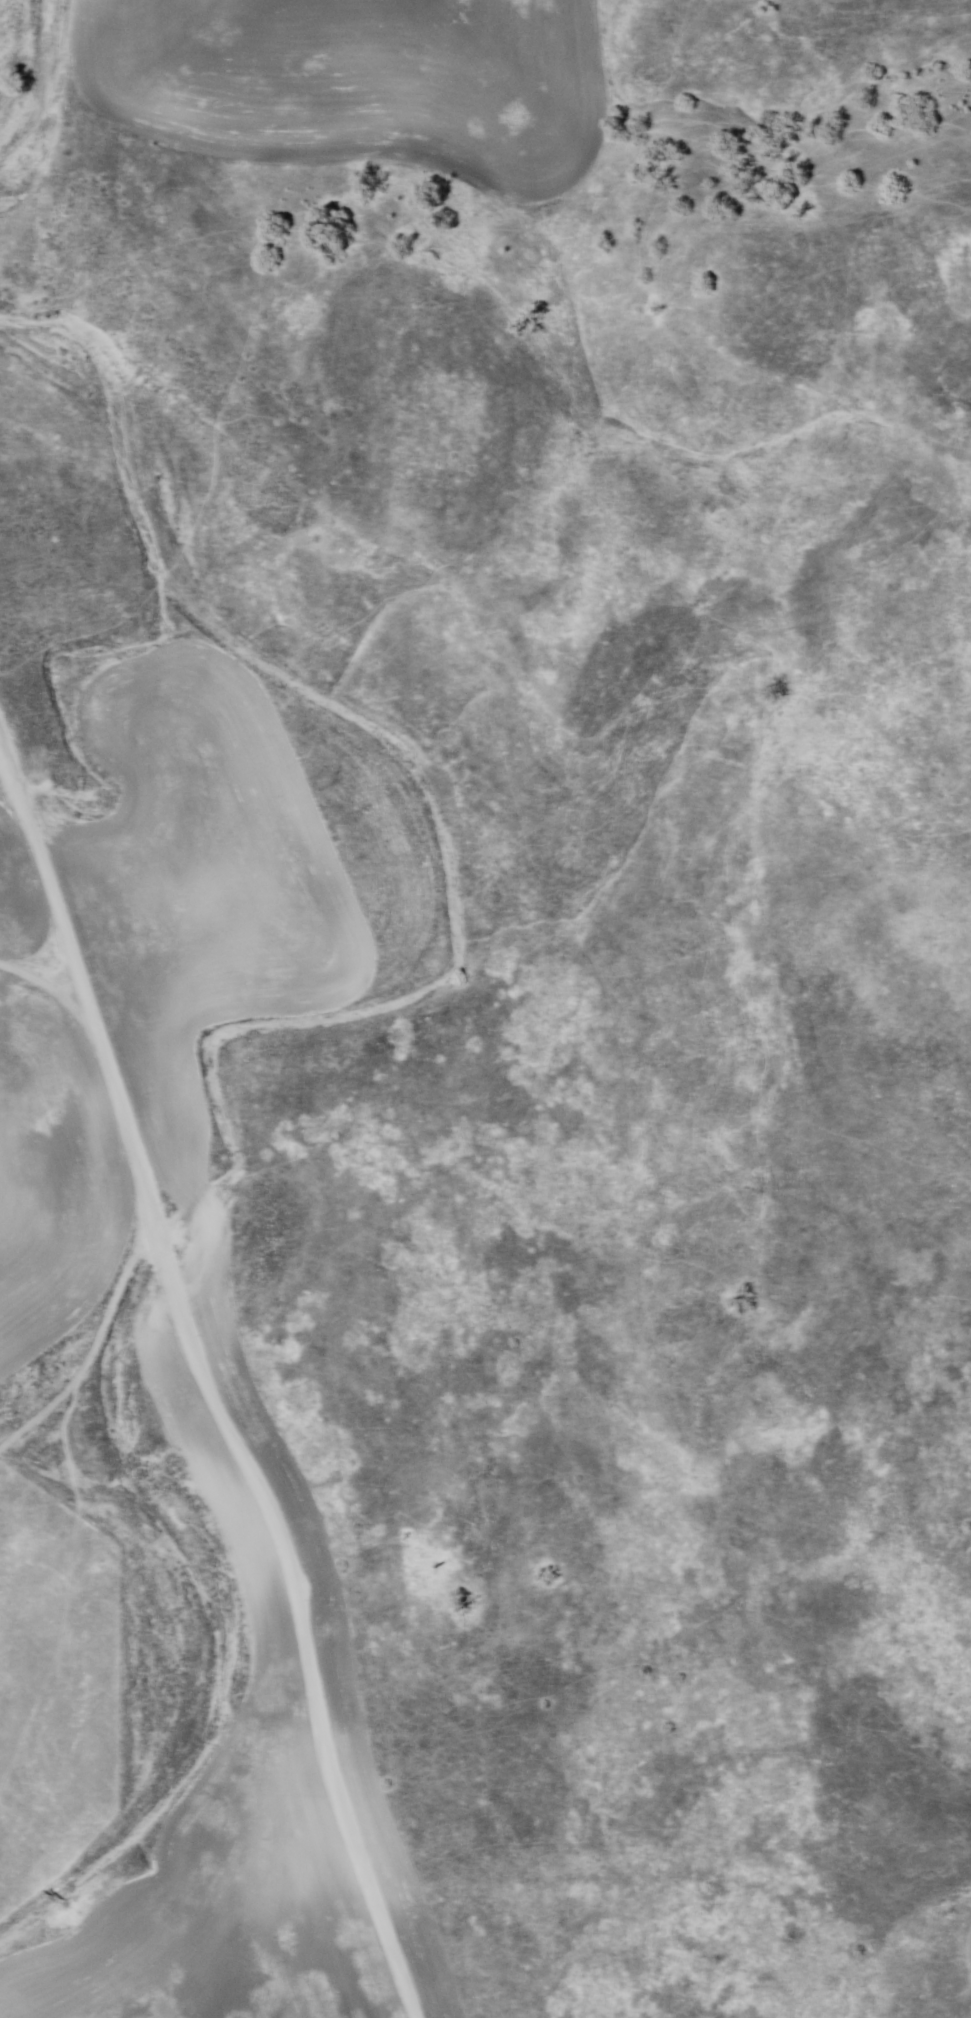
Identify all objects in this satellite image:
road: (45, 976)
road: (209, 1385)

